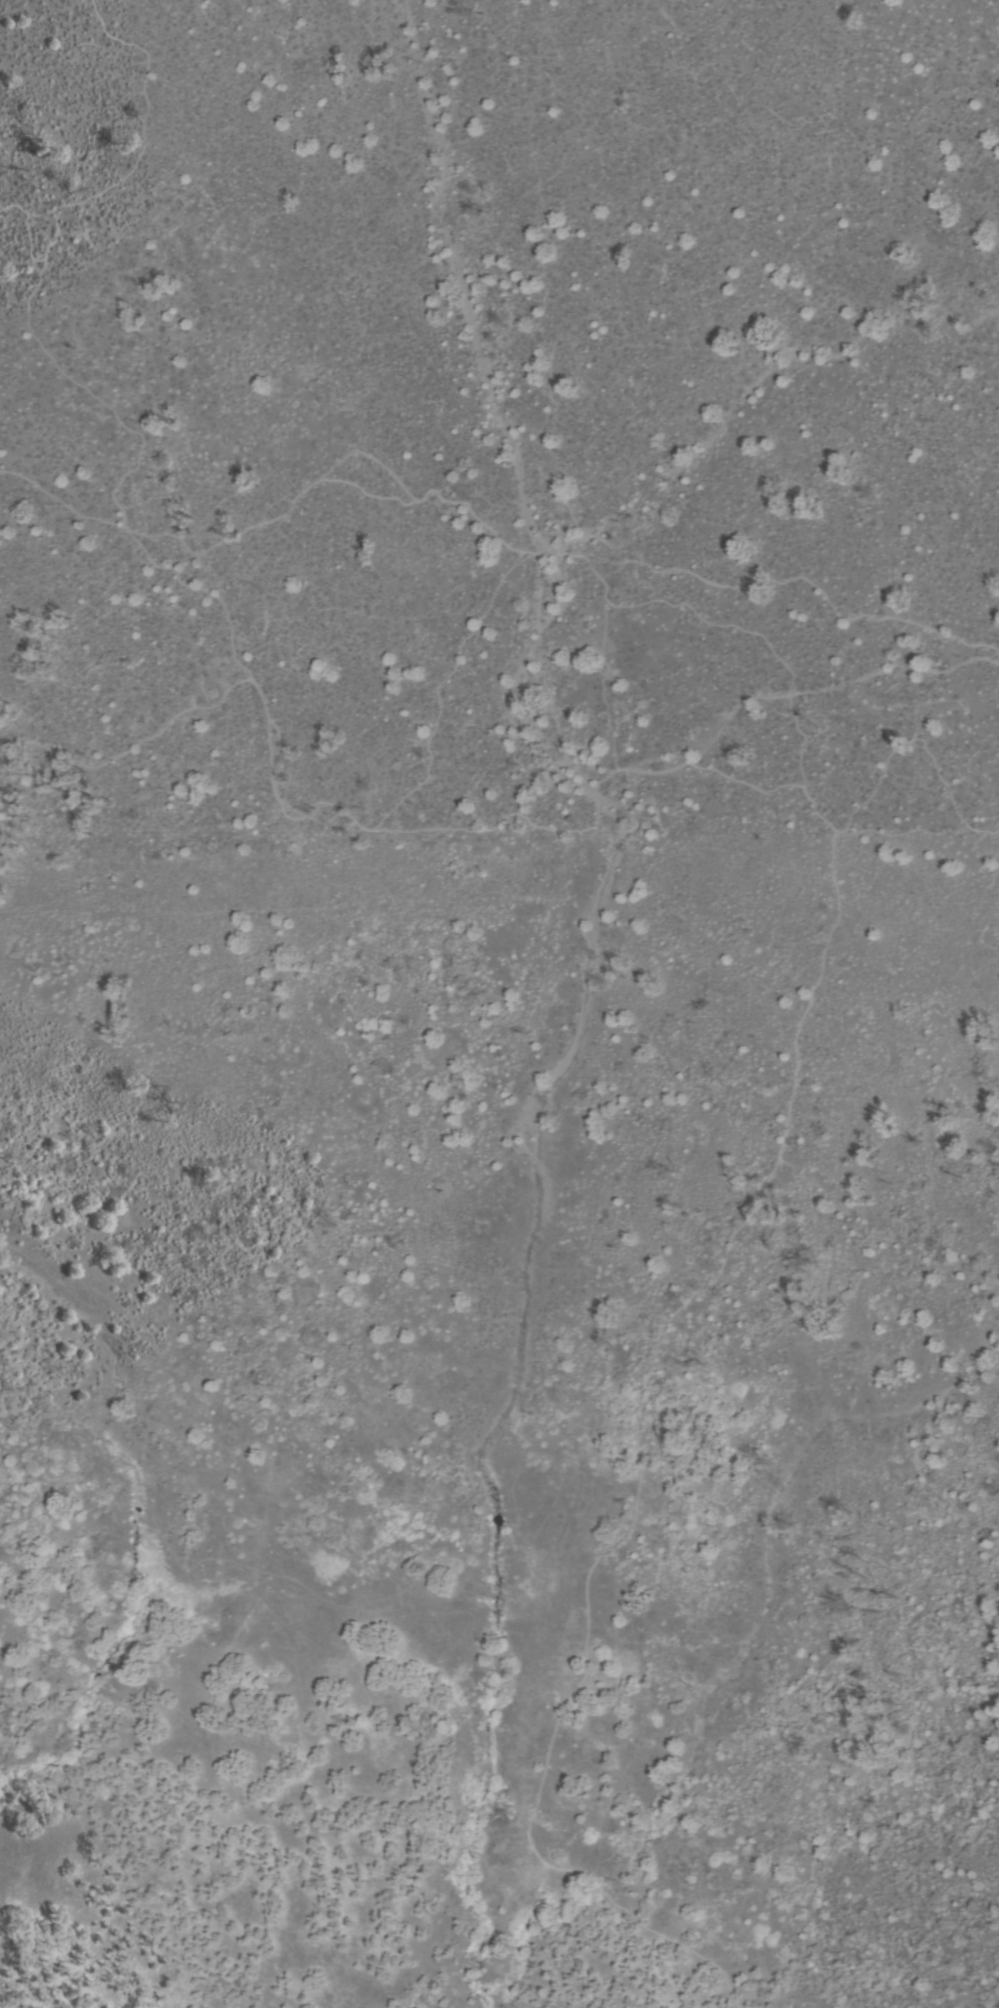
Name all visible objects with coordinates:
road: (805, 998)

